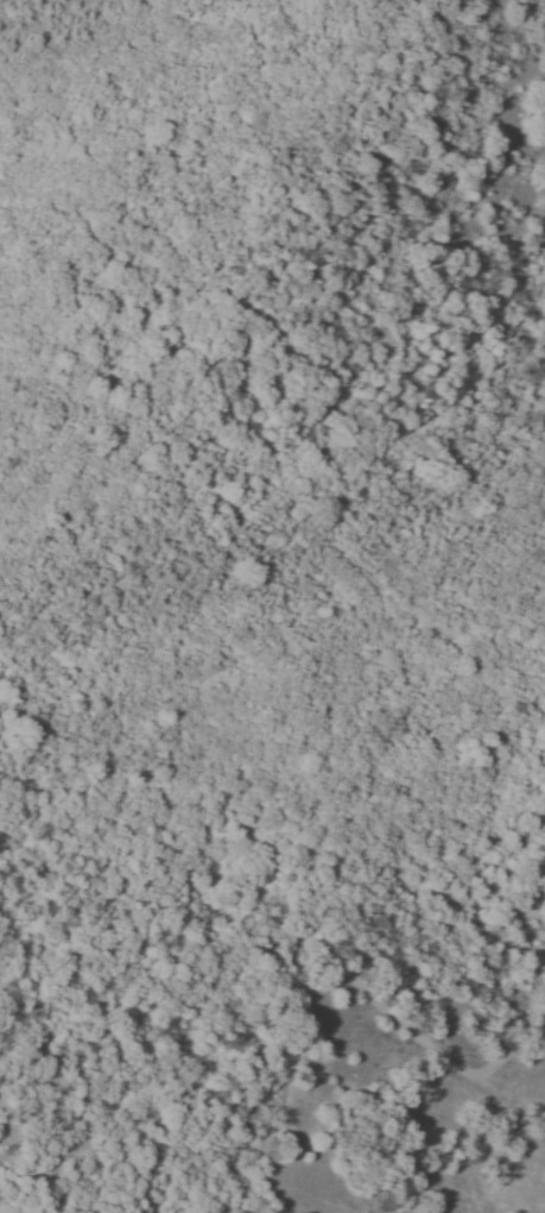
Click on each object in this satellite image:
road: (298, 945)

